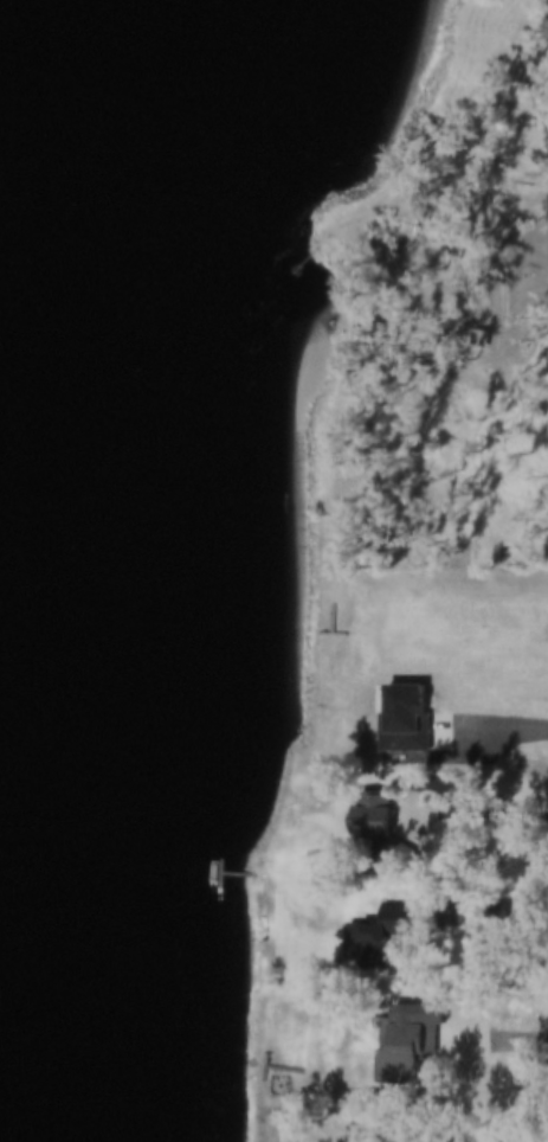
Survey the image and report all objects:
river: (44, 381)
road: (439, 809)
building: (376, 816)
building: (381, 939)
road: (508, 1040)
building: (412, 1050)

